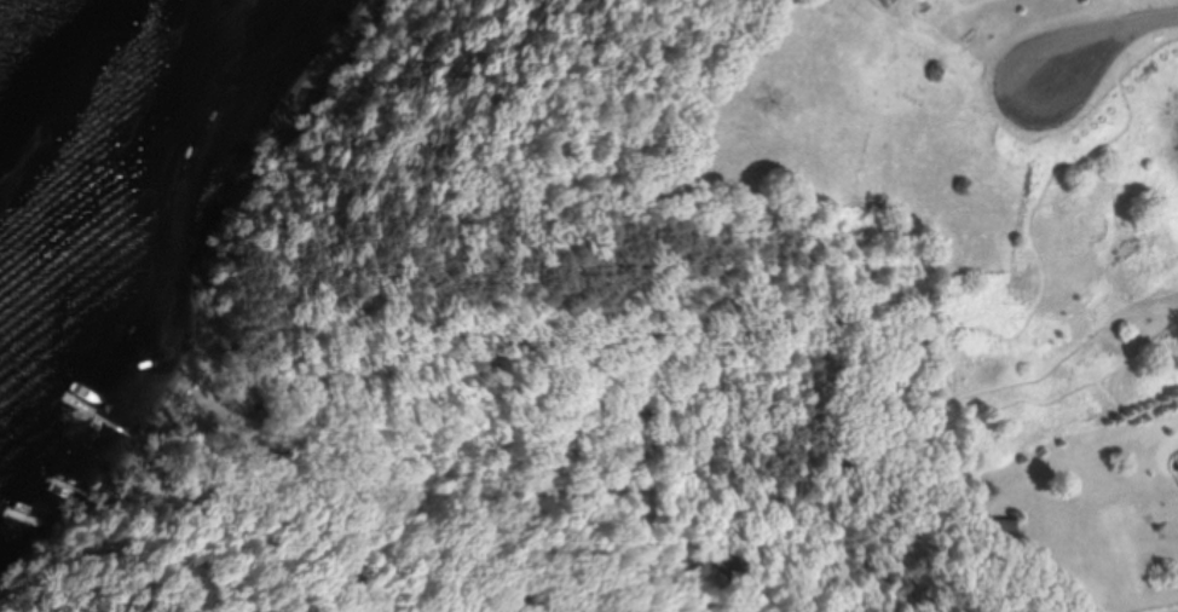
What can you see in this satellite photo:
road: (1142, 12)
road: (1115, 45)
park: (515, 411)

